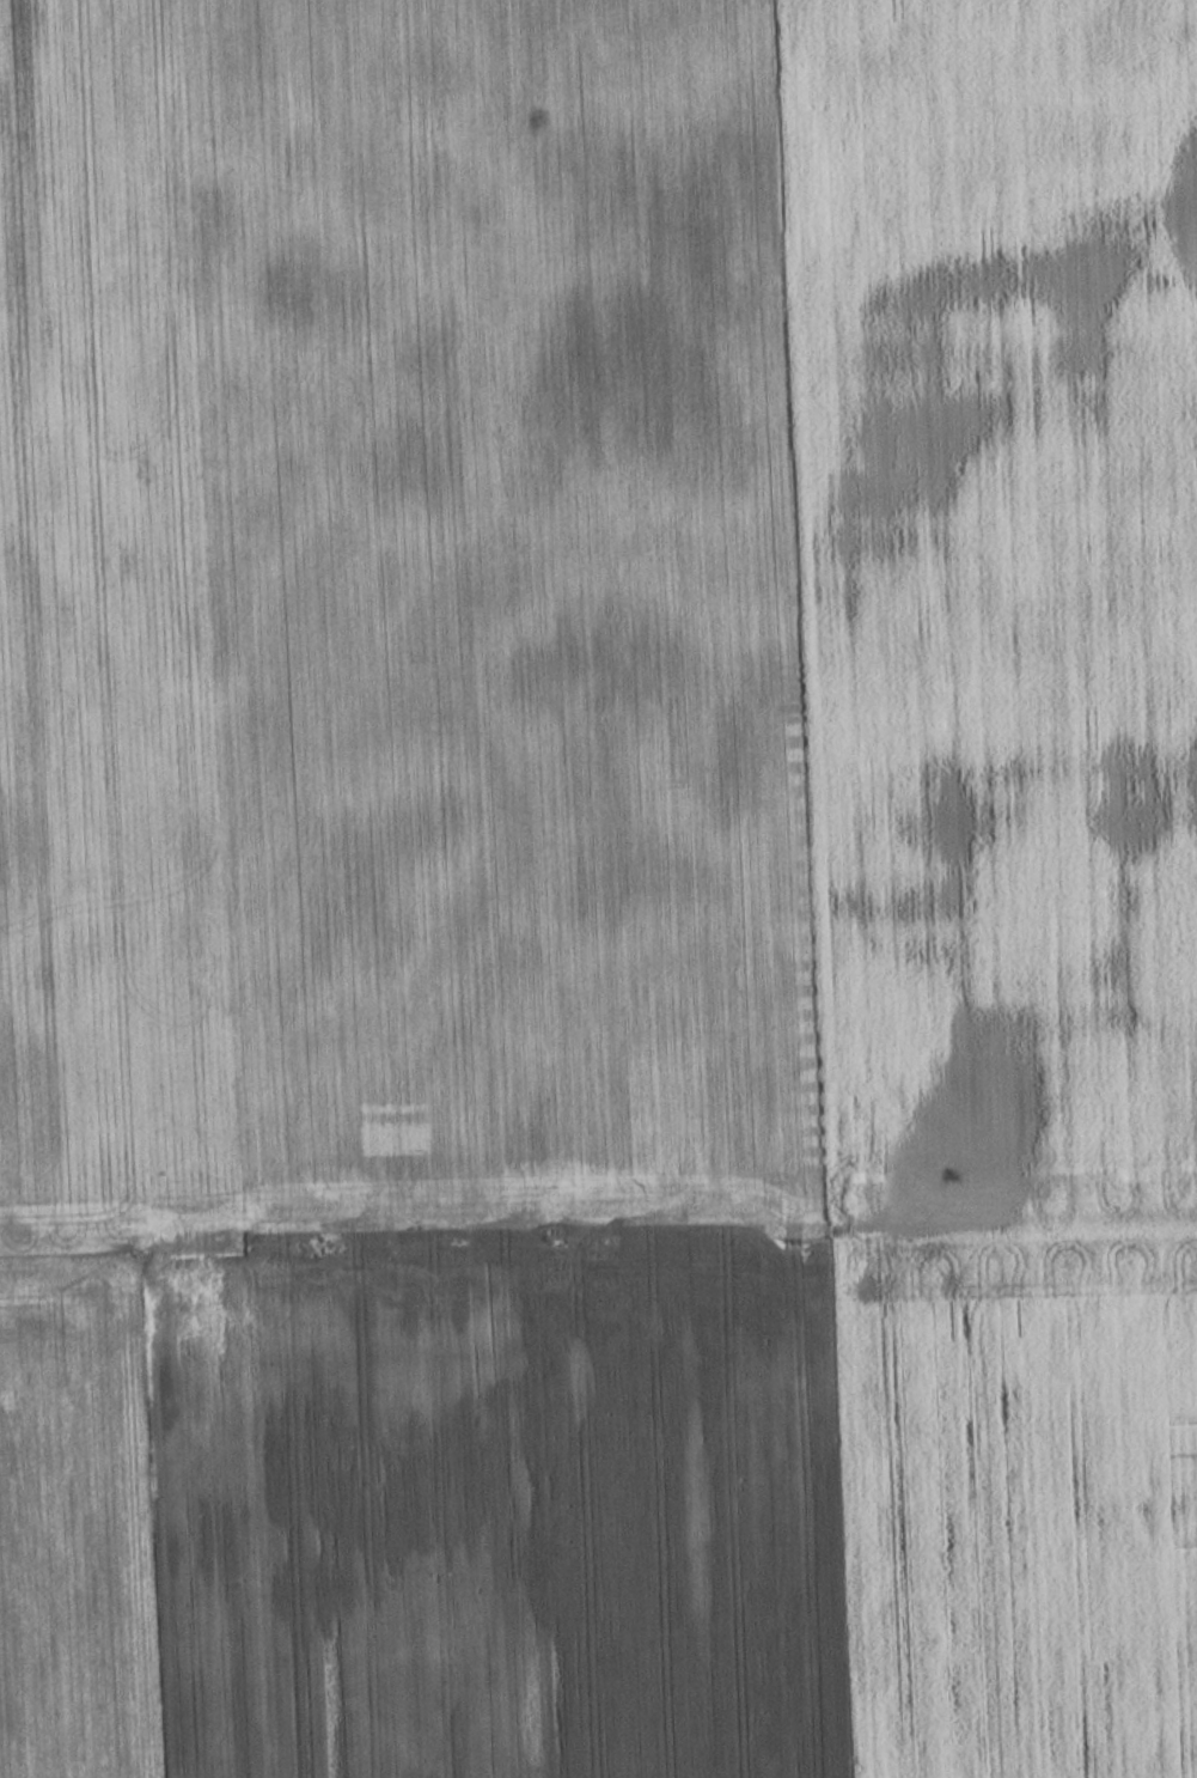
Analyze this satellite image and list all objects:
crop: (598, 889)

